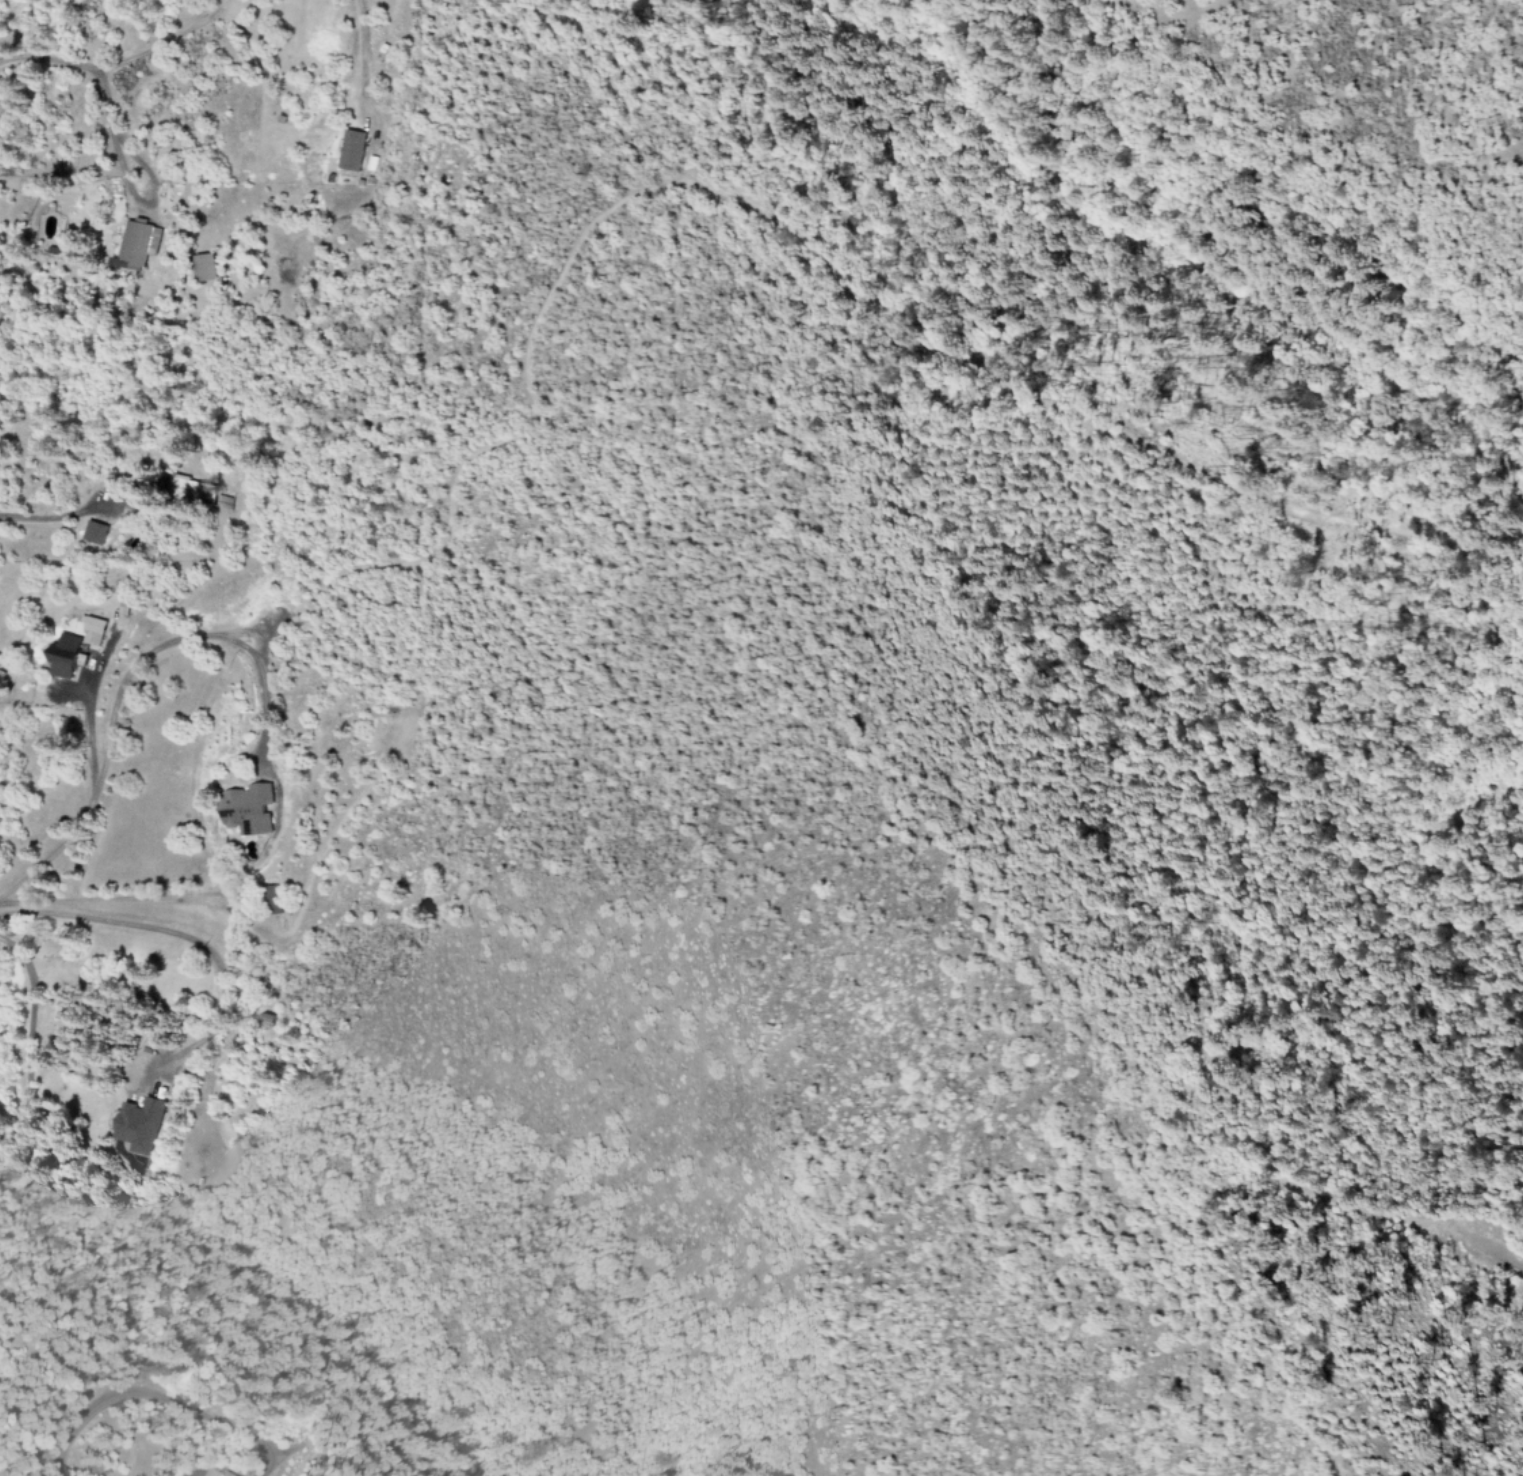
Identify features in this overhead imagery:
road: (1047, 25)
road: (327, 37)
road: (136, 65)
road: (1285, 72)
road: (328, 78)
building: (354, 151)
road: (272, 169)
road: (1299, 212)
building: (138, 246)
building: (207, 268)
building: (193, 489)
building: (95, 533)
building: (95, 632)
building: (68, 656)
building: (249, 810)
building: (273, 900)
building: (140, 1125)
building: (223, 1474)

